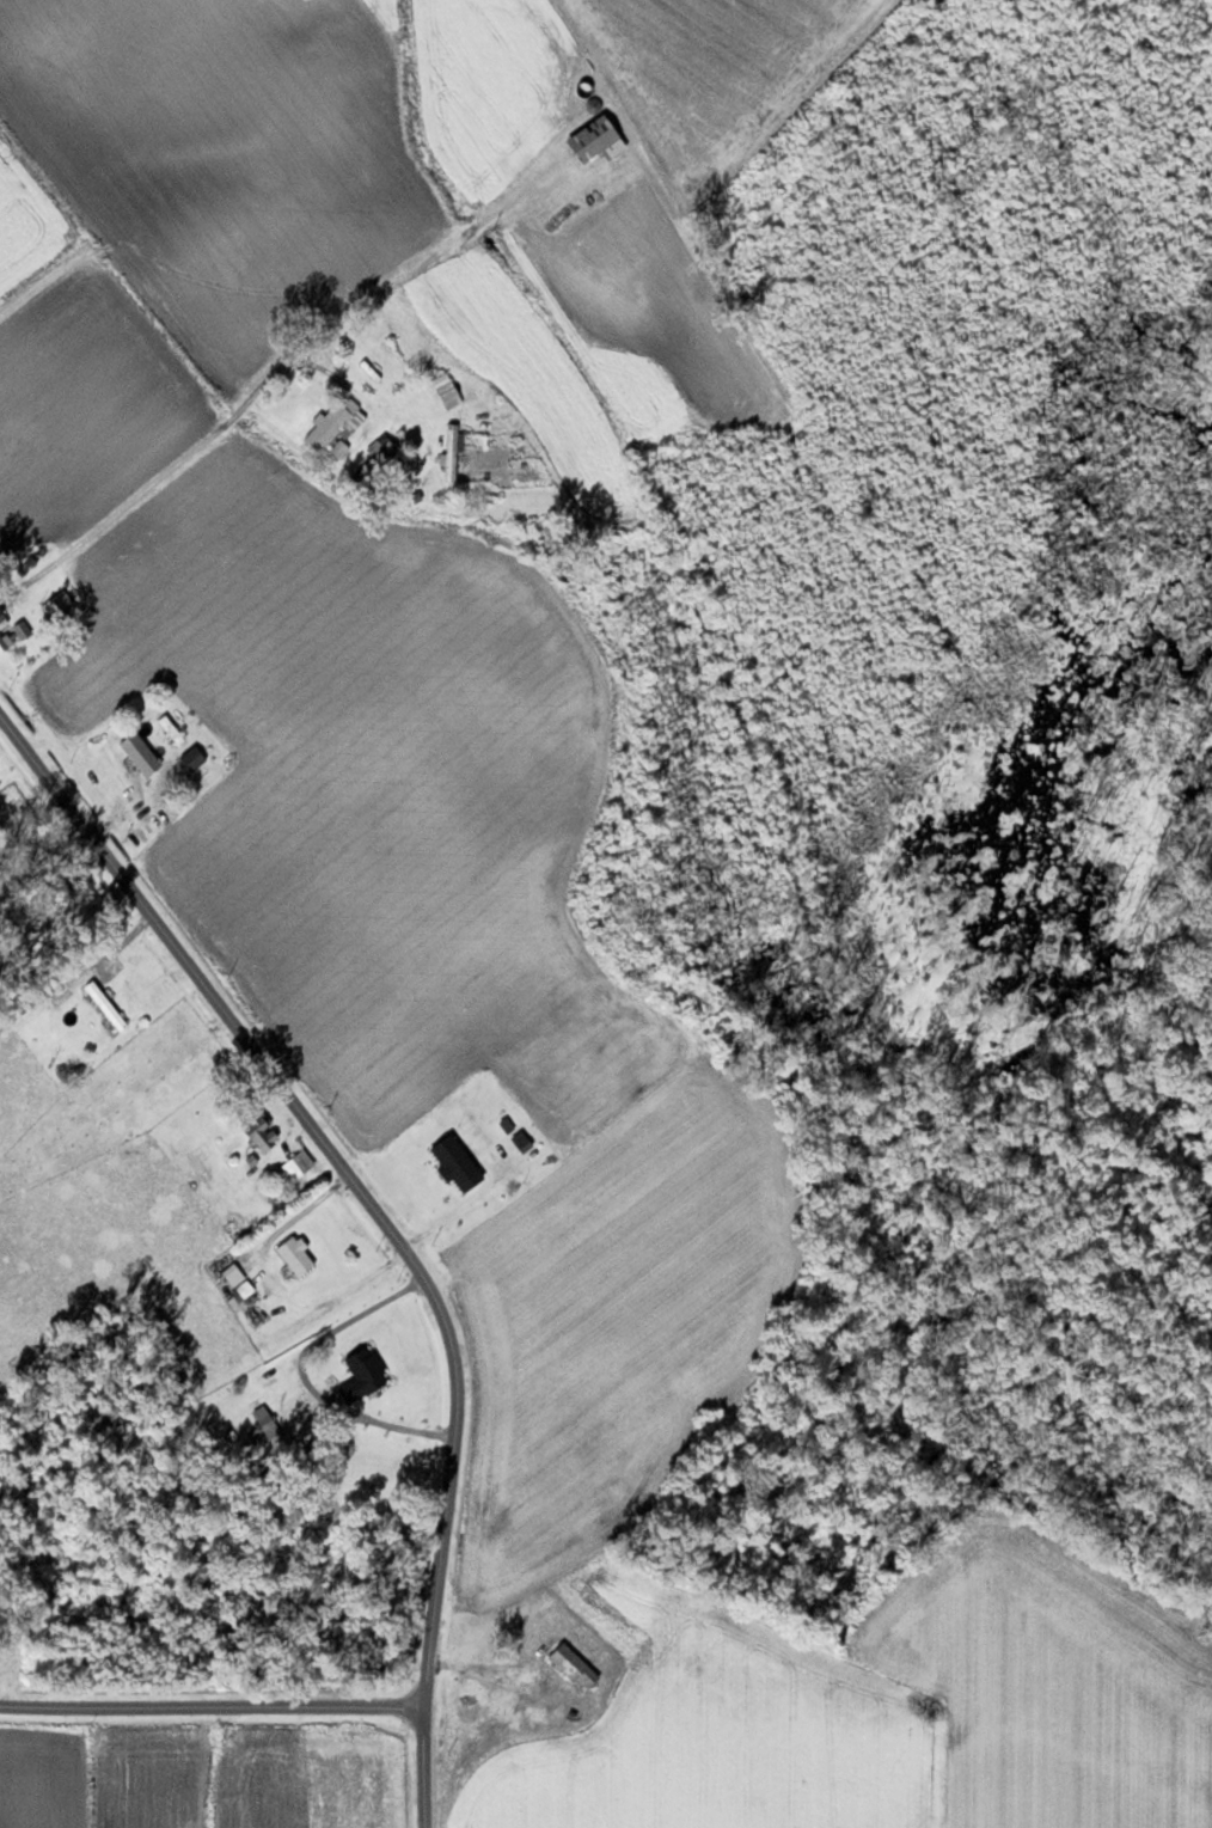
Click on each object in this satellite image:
building: (449, 393)
building: (330, 424)
building: (341, 446)
building: (453, 452)
building: (382, 464)
road: (135, 515)
building: (60, 600)
building: (5, 632)
building: (142, 752)
building: (106, 1004)
building: (255, 1120)
building: (458, 1162)
building: (299, 1163)
road: (385, 1215)
building: (298, 1253)
building: (368, 1369)
building: (268, 1420)
building: (575, 1665)
building: (492, 1696)
road: (213, 1708)

